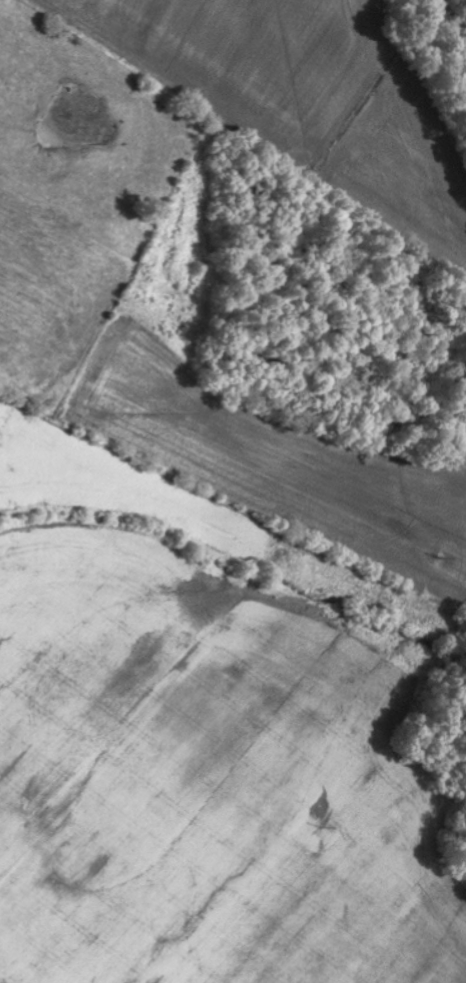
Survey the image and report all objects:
road: (173, 135)

